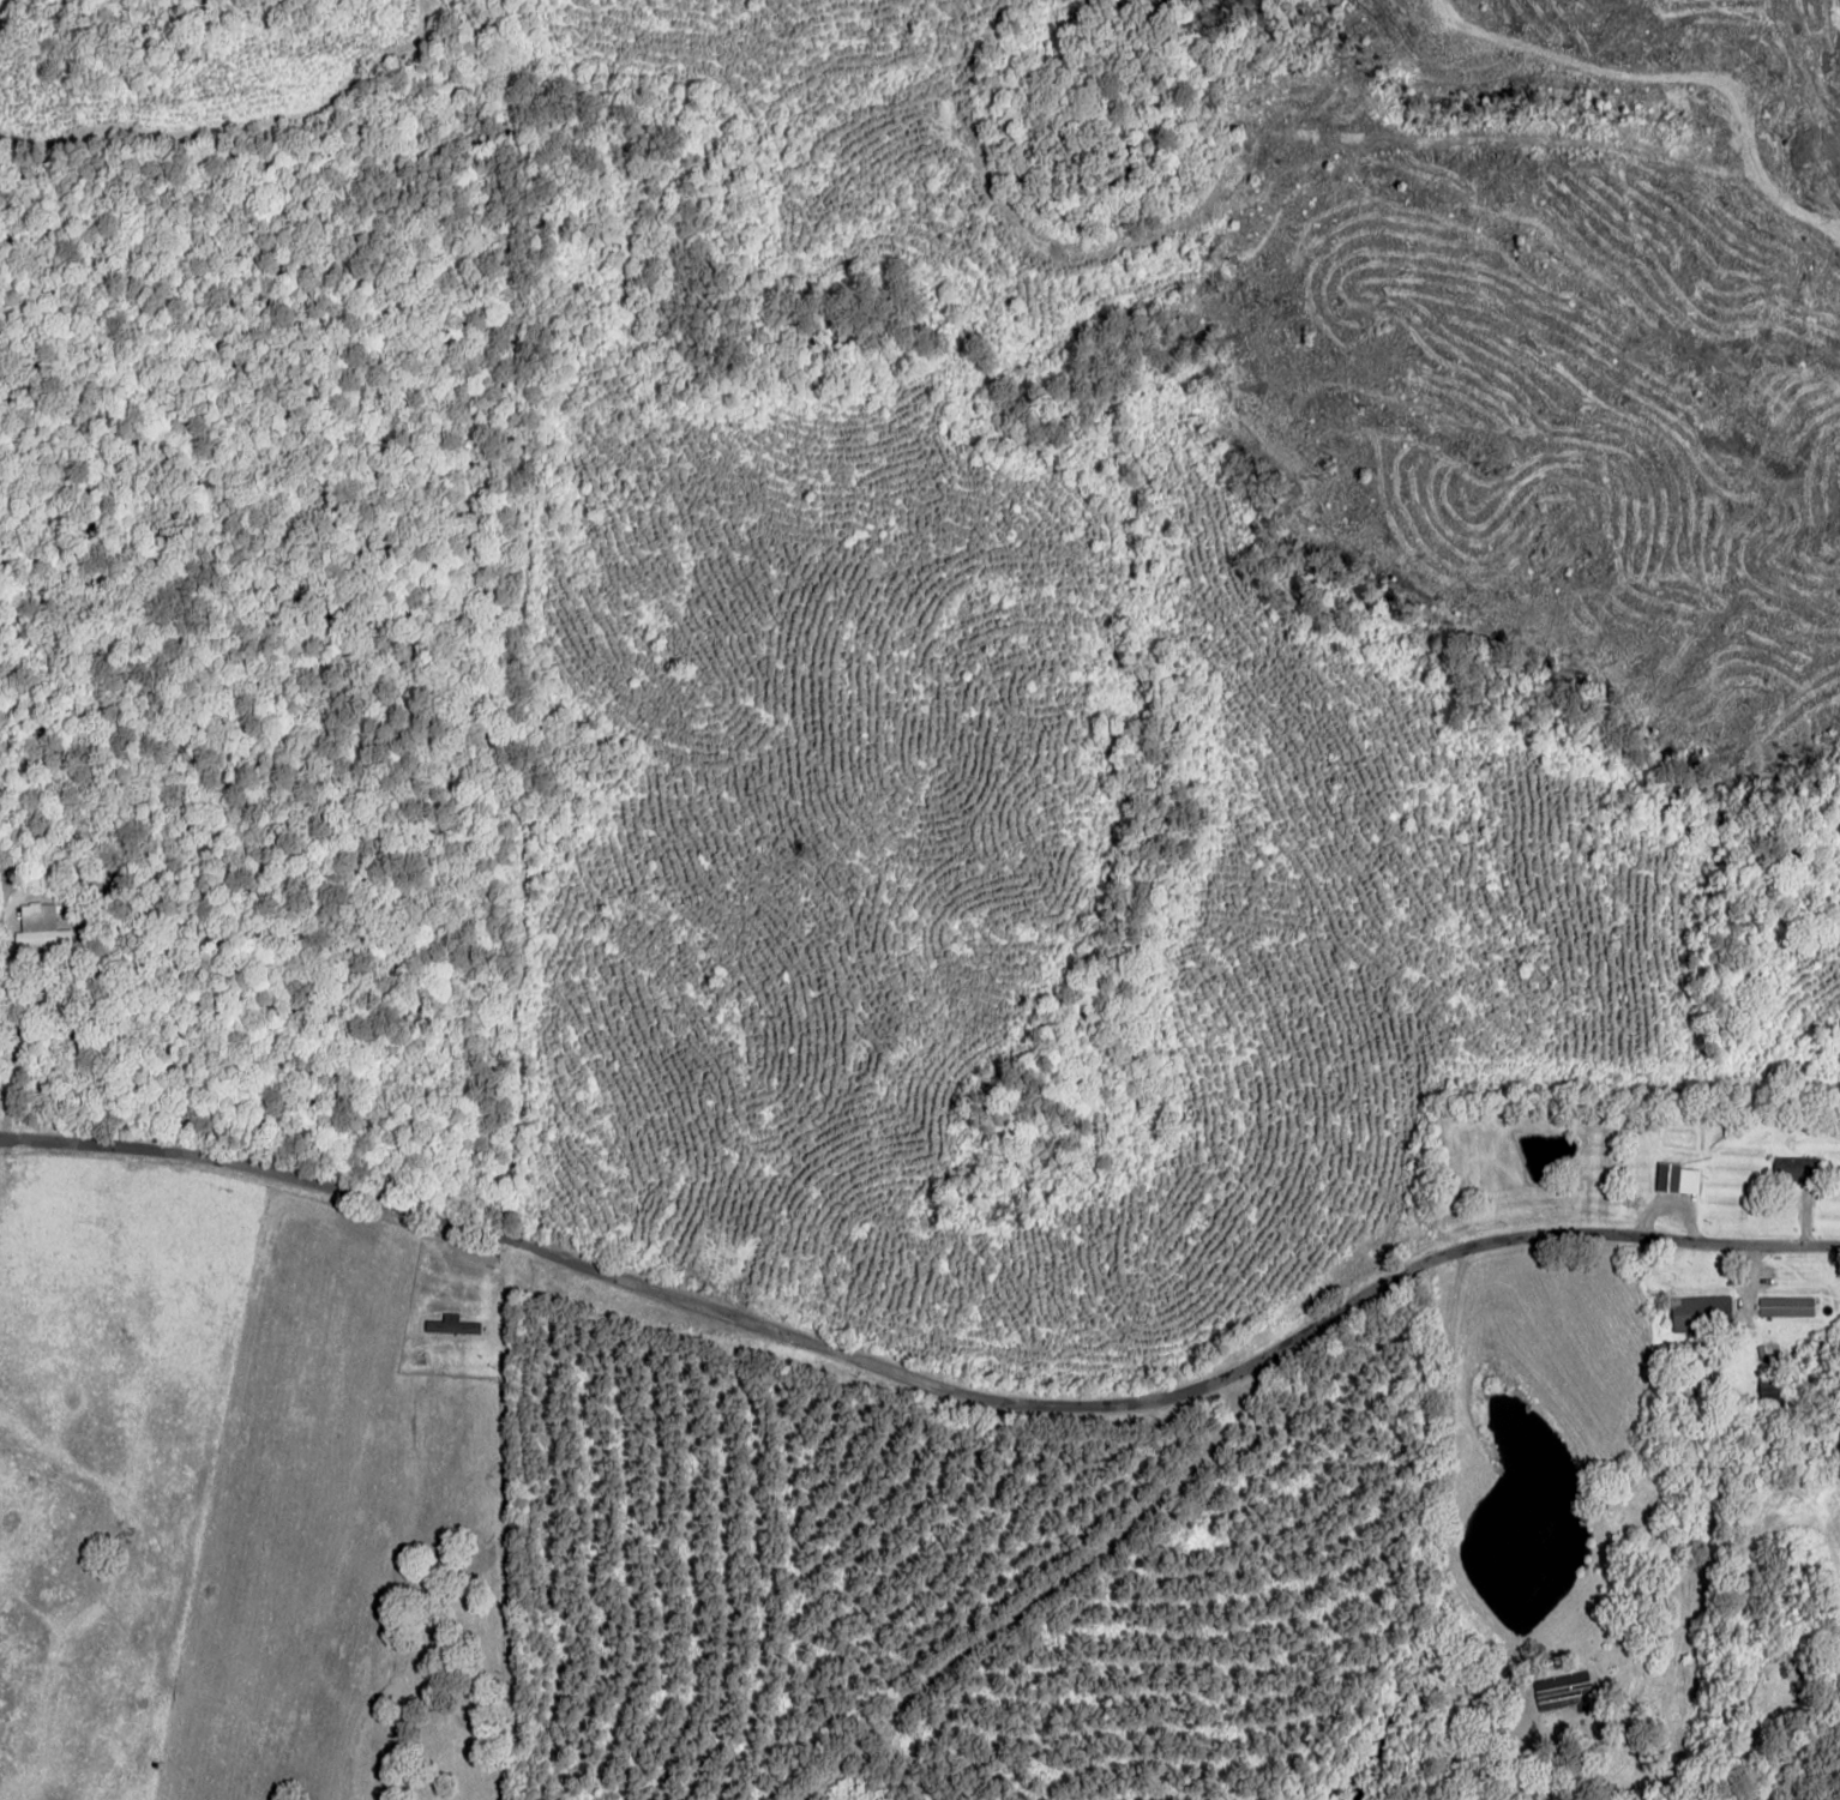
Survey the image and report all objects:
building: (41, 926)
building: (1792, 1168)
building: (1676, 1178)
building: (1785, 1306)
building: (1700, 1313)
road: (919, 1407)
building: (1563, 1691)

